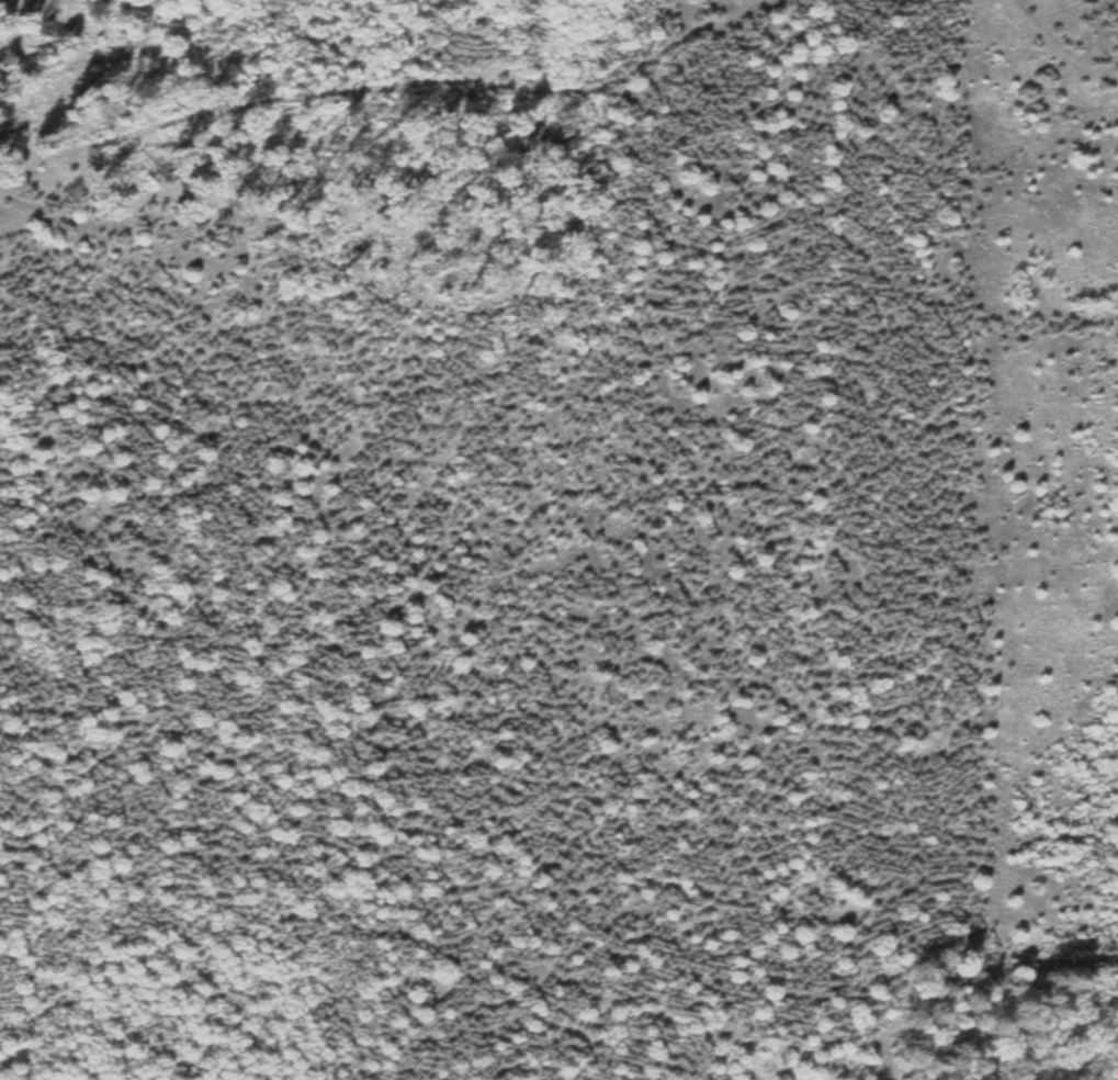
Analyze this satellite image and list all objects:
road: (1065, 42)
road: (386, 85)

